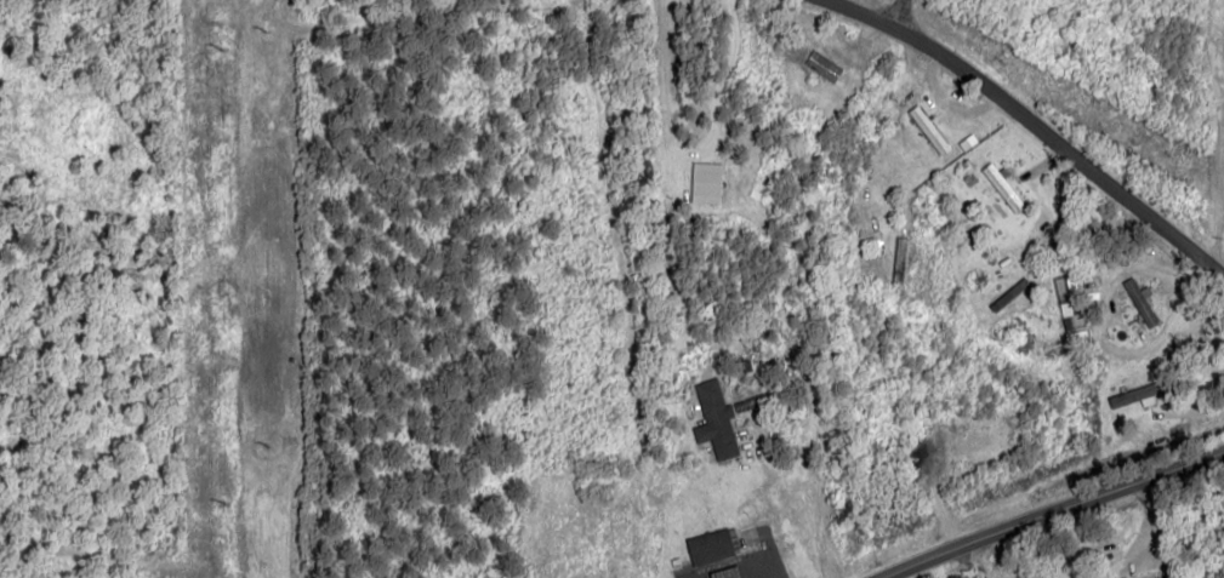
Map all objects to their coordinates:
road: (892, 10)
building: (822, 65)
building: (928, 130)
road: (1029, 131)
building: (705, 182)
building: (1066, 301)
building: (1139, 301)
building: (1131, 395)
building: (713, 420)
road: (1051, 514)
building: (708, 548)

